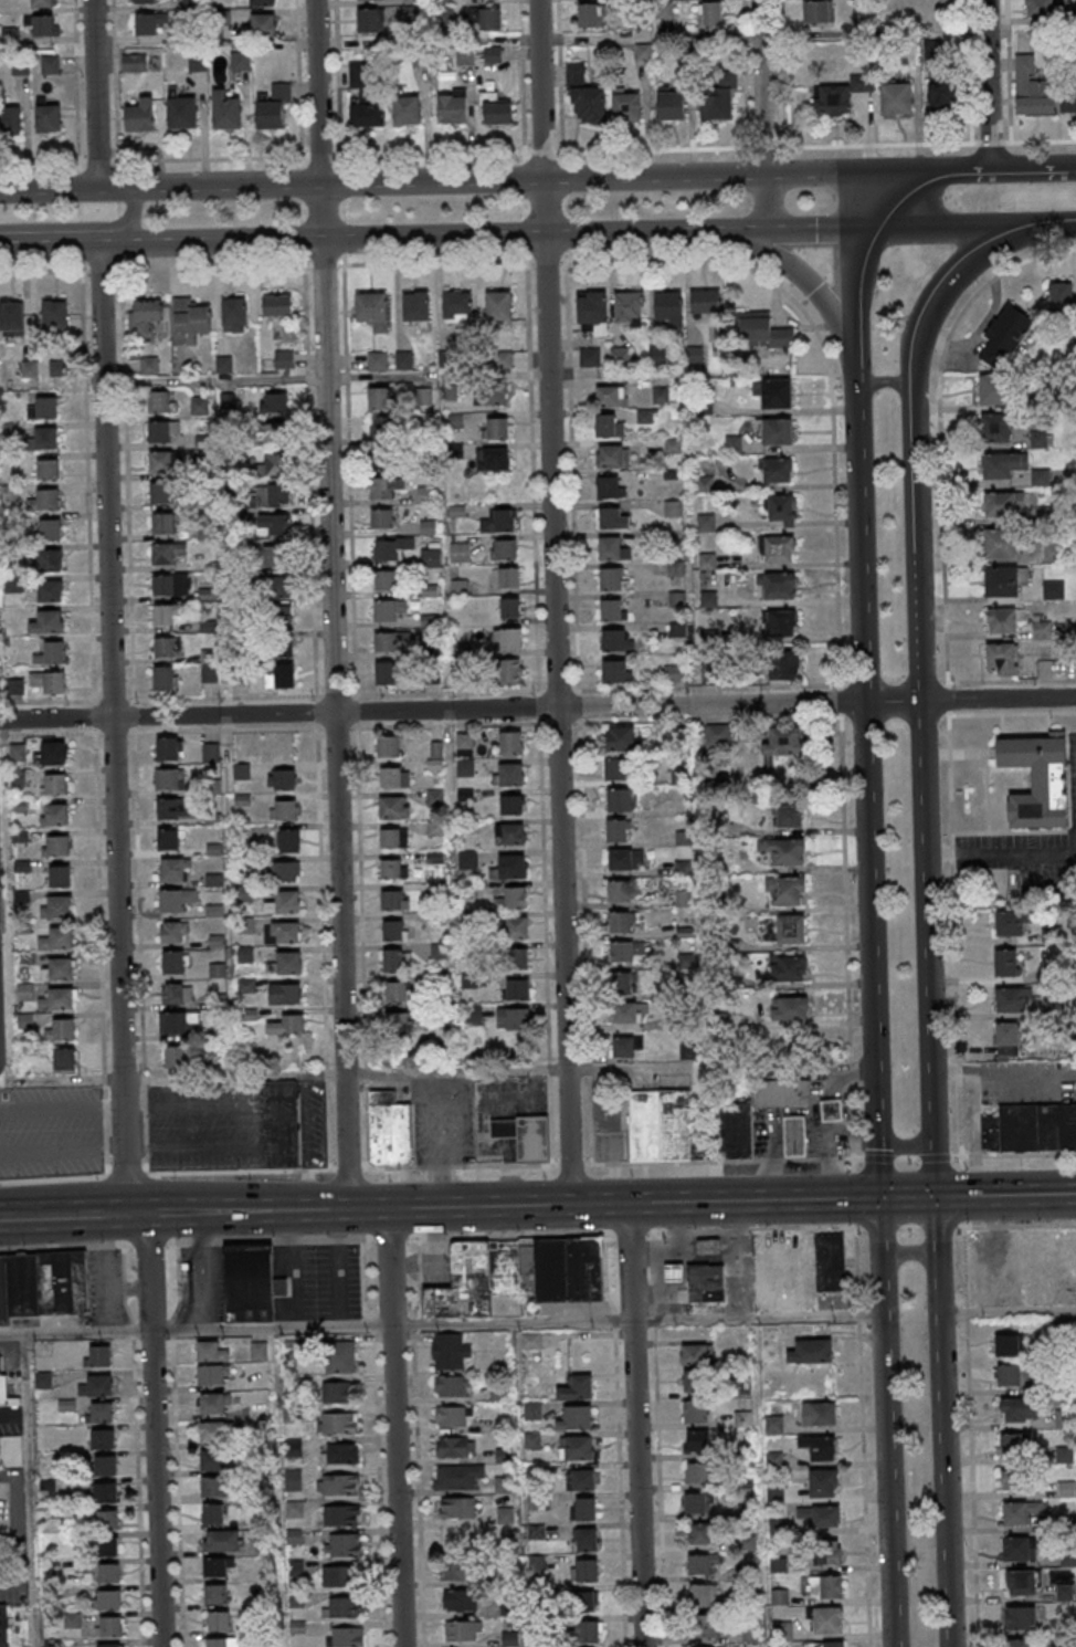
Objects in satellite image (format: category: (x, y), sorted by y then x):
building: (145, 2)
building: (256, 2)
building: (43, 3)
building: (1041, 8)
building: (817, 11)
building: (709, 13)
building: (591, 14)
building: (484, 19)
building: (370, 21)
building: (42, 25)
building: (147, 25)
building: (263, 25)
building: (10, 35)
building: (493, 54)
building: (465, 57)
building: (198, 62)
building: (135, 63)
building: (358, 80)
building: (862, 83)
road: (987, 85)
building: (1033, 90)
road: (94, 94)
building: (586, 94)
building: (896, 98)
building: (832, 101)
building: (942, 102)
building: (716, 103)
building: (1068, 103)
building: (626, 104)
building: (671, 105)
building: (274, 106)
building: (453, 106)
building: (494, 108)
building: (226, 111)
building: (407, 111)
building: (182, 112)
building: (367, 114)
building: (140, 115)
road: (763, 115)
building: (49, 119)
building: (10, 120)
road: (43, 161)
road: (1033, 169)
road: (961, 170)
road: (515, 180)
road: (49, 189)
road: (903, 199)
road: (128, 222)
road: (1054, 227)
road: (954, 230)
road: (487, 238)
road: (50, 246)
road: (546, 256)
road: (434, 261)
road: (324, 263)
road: (213, 265)
road: (102, 269)
road: (43, 271)
road: (806, 284)
building: (1062, 294)
building: (706, 303)
building: (499, 304)
building: (277, 305)
building: (457, 305)
building: (667, 306)
building: (416, 307)
building: (629, 307)
building: (372, 311)
building: (593, 311)
building: (55, 314)
building: (146, 314)
building: (234, 314)
building: (12, 317)
building: (189, 321)
building: (767, 333)
building: (1005, 336)
building: (620, 356)
building: (657, 356)
building: (589, 357)
building: (284, 359)
building: (377, 360)
building: (403, 360)
road: (827, 364)
building: (30, 370)
road: (884, 381)
building: (995, 390)
building: (493, 394)
building: (777, 394)
building: (423, 396)
building: (611, 396)
building: (379, 398)
building: (228, 401)
building: (274, 402)
building: (159, 403)
building: (199, 406)
building: (45, 407)
building: (610, 424)
building: (382, 428)
building: (495, 428)
building: (996, 429)
building: (776, 431)
building: (161, 433)
building: (270, 433)
road: (915, 436)
building: (45, 438)
building: (1041, 439)
building: (613, 455)
building: (492, 459)
building: (383, 460)
building: (166, 463)
building: (275, 464)
building: (1001, 465)
building: (49, 469)
building: (778, 470)
building: (1040, 478)
road: (87, 483)
building: (705, 484)
building: (609, 486)
building: (386, 487)
building: (161, 494)
building: (275, 495)
building: (425, 495)
building: (46, 500)
building: (1002, 505)
building: (673, 508)
building: (782, 508)
building: (612, 517)
building: (382, 520)
building: (500, 521)
building: (163, 524)
building: (273, 524)
building: (51, 529)
building: (205, 531)
building: (1000, 544)
building: (611, 548)
building: (777, 548)
building: (505, 549)
building: (387, 550)
building: (1054, 552)
building: (167, 553)
building: (460, 553)
building: (275, 555)
building: (51, 560)
building: (508, 578)
building: (613, 579)
building: (1004, 580)
building: (386, 581)
building: (171, 585)
building: (777, 585)
building: (279, 587)
building: (1054, 589)
building: (430, 590)
building: (52, 591)
road: (553, 601)
road: (331, 604)
building: (509, 607)
building: (611, 609)
building: (388, 610)
building: (163, 615)
building: (281, 618)
building: (1004, 619)
building: (49, 622)
building: (781, 622)
building: (1042, 629)
building: (507, 639)
building: (613, 639)
building: (393, 642)
building: (281, 646)
building: (167, 648)
building: (52, 653)
building: (1001, 658)
building: (787, 665)
building: (614, 671)
building: (509, 673)
building: (386, 674)
building: (709, 674)
building: (210, 675)
building: (281, 676)
building: (162, 679)
road: (863, 680)
building: (48, 681)
building: (14, 686)
road: (838, 700)
road: (49, 701)
road: (538, 709)
road: (113, 731)
building: (717, 735)
building: (620, 738)
building: (464, 741)
building: (783, 742)
building: (510, 743)
building: (389, 746)
building: (171, 748)
building: (18, 752)
building: (211, 752)
building: (52, 753)
building: (435, 757)
building: (465, 767)
building: (615, 768)
building: (242, 770)
building: (509, 774)
building: (18, 777)
building: (394, 777)
building: (170, 779)
building: (282, 779)
building: (1038, 779)
building: (55, 784)
building: (435, 797)
building: (619, 800)
building: (511, 804)
building: (394, 807)
building: (173, 809)
building: (283, 809)
building: (55, 814)
building: (789, 816)
building: (616, 830)
building: (509, 833)
building: (393, 838)
building: (170, 840)
building: (288, 840)
building: (56, 845)
road: (1000, 850)
building: (784, 851)
building: (625, 859)
building: (509, 866)
building: (391, 868)
building: (173, 871)
building: (283, 871)
building: (61, 875)
building: (619, 891)
building: (787, 892)
building: (683, 898)
building: (513, 899)
building: (176, 900)
building: (395, 900)
building: (284, 902)
building: (59, 906)
road: (953, 909)
road: (926, 921)
building: (621, 922)
building: (1012, 922)
building: (516, 927)
building: (790, 930)
building: (394, 931)
building: (172, 932)
building: (282, 932)
building: (57, 938)
road: (846, 942)
building: (626, 952)
building: (245, 954)
road: (9, 955)
building: (519, 958)
building: (394, 959)
building: (175, 962)
building: (286, 962)
building: (1005, 962)
building: (788, 967)
building: (60, 969)
building: (218, 971)
building: (623, 983)
building: (247, 985)
building: (514, 988)
building: (398, 993)
building: (285, 994)
building: (176, 995)
building: (2, 998)
building: (59, 999)
building: (1010, 999)
building: (790, 1008)
building: (472, 1013)
building: (629, 1013)
building: (511, 1019)
building: (178, 1022)
building: (399, 1022)
building: (287, 1025)
building: (62, 1030)
building: (1006, 1039)
building: (625, 1046)
building: (176, 1058)
building: (65, 1059)
road: (1003, 1070)
road: (411, 1073)
building: (777, 1092)
building: (831, 1112)
building: (282, 1124)
building: (685, 1127)
building: (1031, 1127)
parking lot: (50, 1129)
building: (389, 1131)
building: (793, 1136)
building: (535, 1139)
building: (505, 1141)
road: (903, 1144)
road: (537, 1164)
road: (877, 1164)
road: (933, 1169)
road: (1005, 1196)
road: (906, 1197)
traffic signals: (935, 1197)
traffic signals: (878, 1198)
road: (449, 1206)
road: (10, 1219)
road: (936, 1230)
road: (879, 1231)
building: (707, 1248)
road: (908, 1250)
road: (685, 1258)
road: (739, 1259)
building: (1058, 1260)
building: (800, 1266)
building: (518, 1273)
building: (673, 1276)
building: (251, 1283)
building: (705, 1283)
building: (43, 1284)
road: (1008, 1310)
road: (757, 1316)
road: (511, 1323)
road: (272, 1328)
road: (75, 1330)
building: (530, 1340)
building: (1009, 1345)
building: (211, 1351)
building: (450, 1351)
building: (812, 1351)
building: (694, 1354)
building: (101, 1355)
building: (340, 1358)
building: (1013, 1374)
building: (212, 1375)
building: (695, 1381)
building: (452, 1385)
building: (97, 1386)
building: (576, 1387)
building: (7, 1392)
building: (340, 1393)
building: (213, 1404)
building: (1021, 1409)
building: (532, 1410)
building: (695, 1412)
building: (101, 1413)
building: (819, 1414)
building: (453, 1415)
building: (576, 1418)
building: (1064, 1418)
building: (338, 1423)
road: (635, 1425)
road: (394, 1427)
road: (155, 1430)
building: (212, 1433)
building: (103, 1439)
building: (697, 1440)
building: (1015, 1444)
building: (455, 1447)
building: (576, 1447)
building: (820, 1447)
building: (0, 1451)
building: (341, 1454)
building: (504, 1455)
road: (943, 1455)
road: (887, 1456)
road: (759, 1457)
building: (211, 1460)
building: (105, 1467)
building: (698, 1472)
building: (457, 1477)
building: (580, 1479)
building: (1015, 1479)
building: (824, 1482)
building: (338, 1486)
building: (213, 1487)
road: (28, 1489)
building: (103, 1493)
building: (695, 1502)
building: (457, 1507)
building: (586, 1508)
building: (1020, 1511)
building: (213, 1513)
building: (820, 1515)
building: (341, 1517)
building: (107, 1520)
building: (700, 1533)
building: (583, 1539)
building: (221, 1540)
building: (342, 1545)
building: (107, 1546)
building: (1019, 1549)
building: (829, 1553)
building: (701, 1563)
building: (215, 1566)
building: (584, 1570)
building: (457, 1571)
building: (109, 1572)
building: (748, 1572)
building: (337, 1577)
building: (1022, 1582)
building: (825, 1587)
building: (217, 1595)
building: (701, 1595)
building: (107, 1599)
building: (461, 1602)
building: (583, 1602)
building: (344, 1607)
building: (1021, 1617)
building: (826, 1622)
building: (219, 1623)
building: (109, 1626)
building: (705, 1626)
building: (3, 1627)
building: (463, 1632)
building: (587, 1632)
building: (782, 1632)
building: (347, 1637)
building: (218, 1643)
building: (1019, 1643)
building: (106, 1645)
building: (824, 1645)

